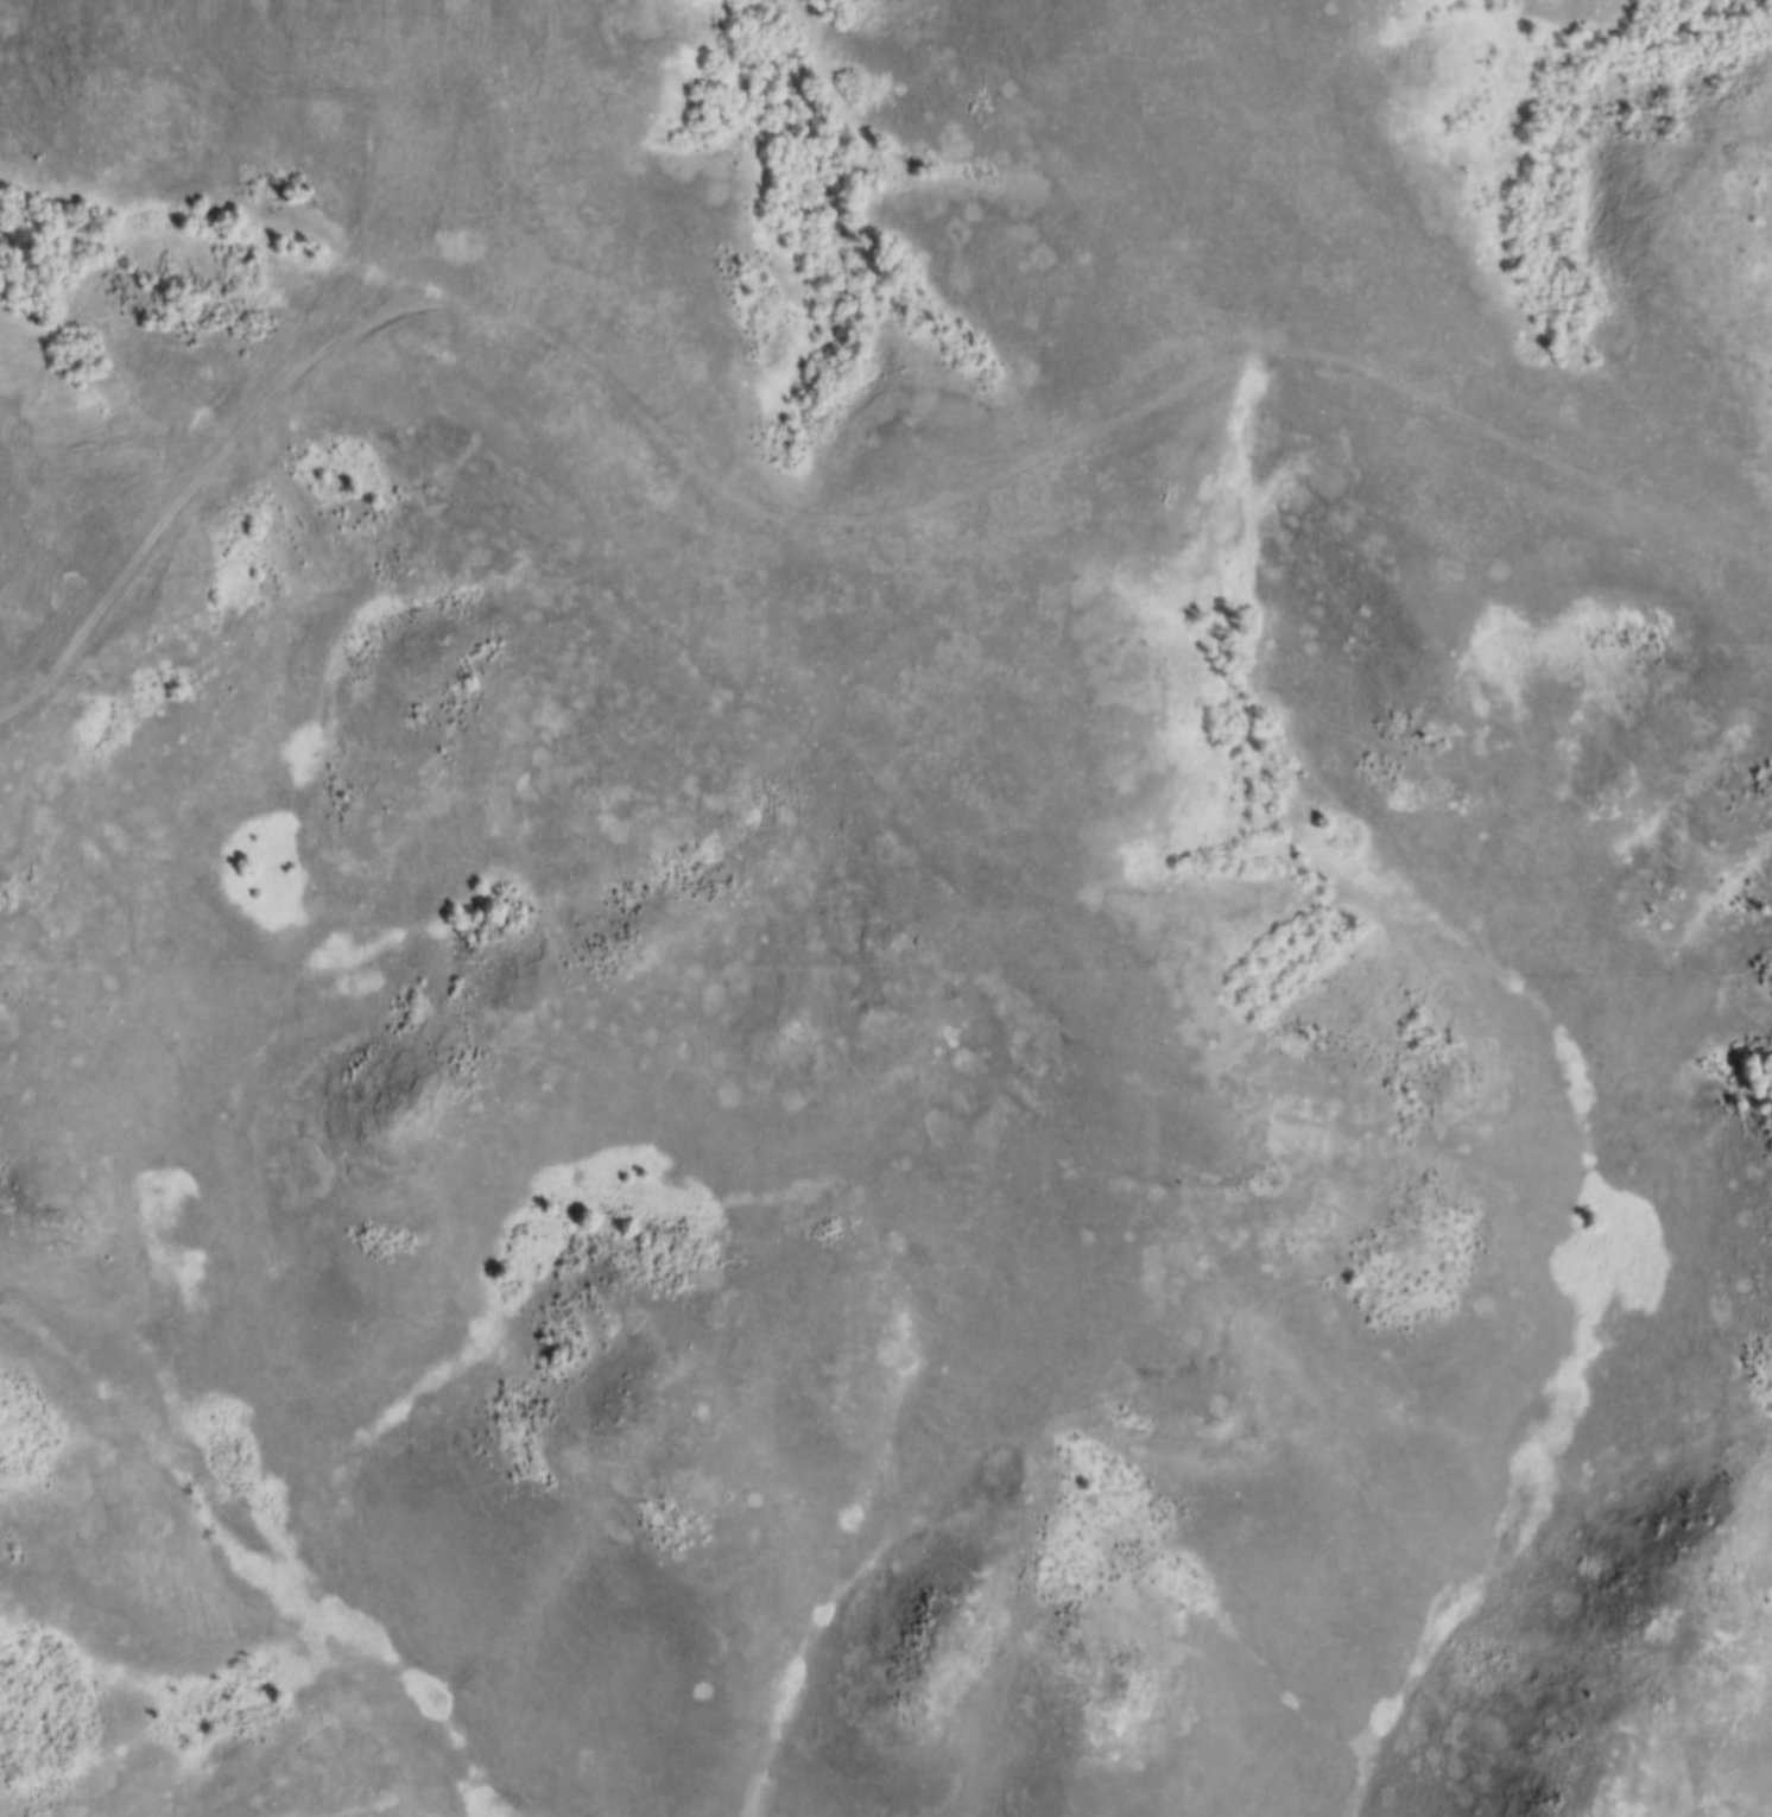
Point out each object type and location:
road: (797, 544)

